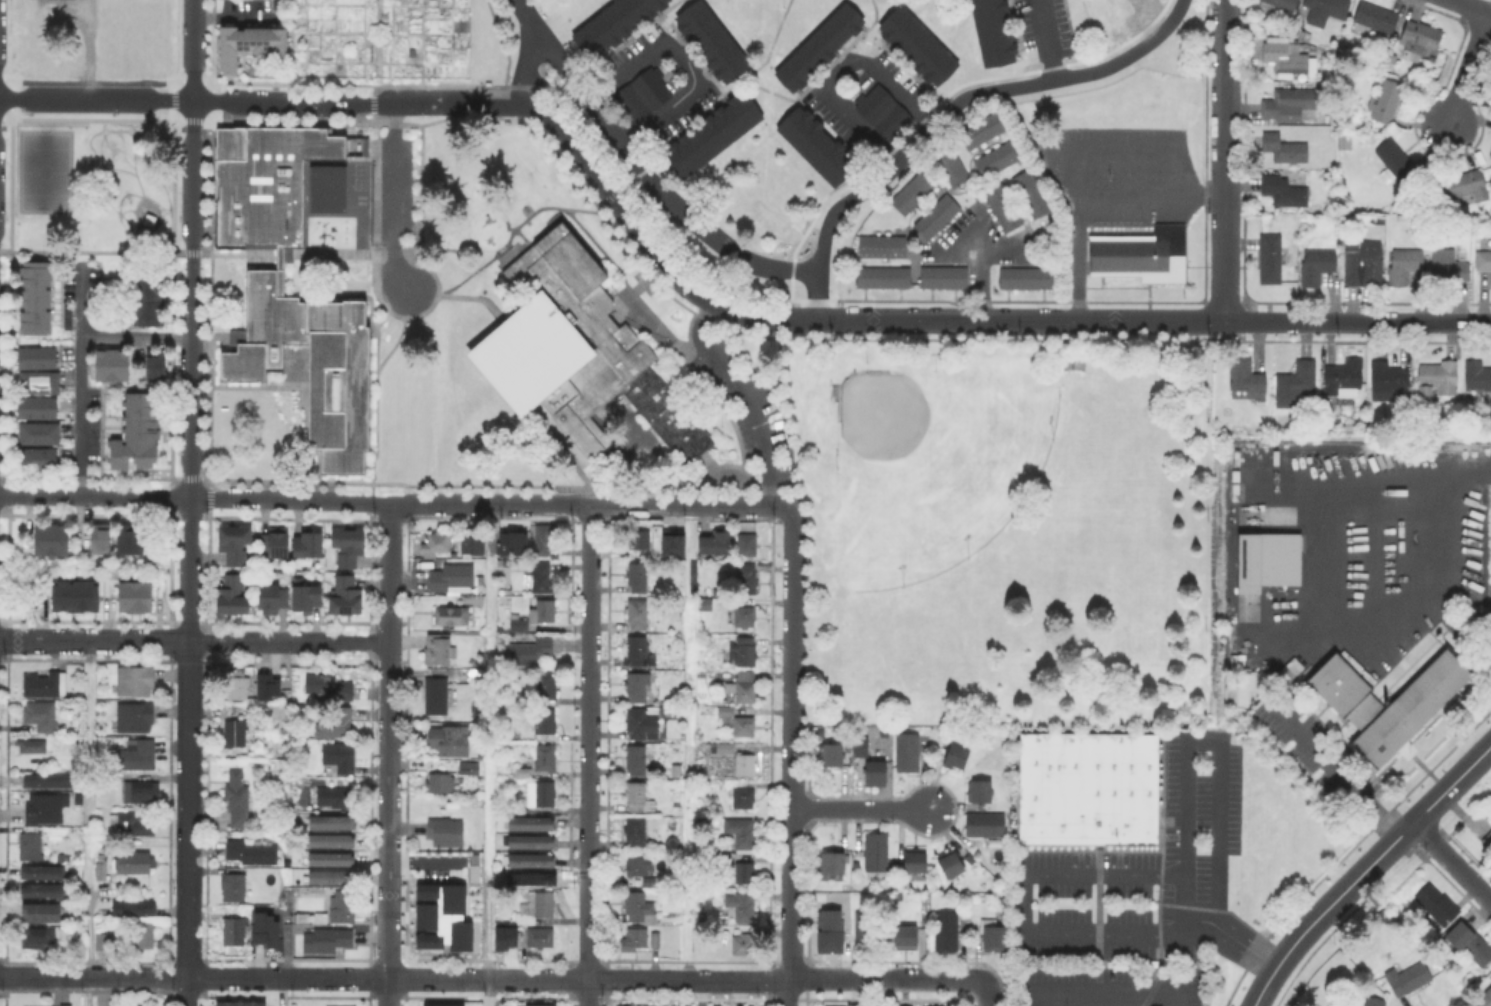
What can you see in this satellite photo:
building: (1282, 4)
road: (1474, 6)
road: (271, 8)
building: (1326, 8)
road: (663, 16)
road: (238, 17)
building: (1374, 20)
building: (611, 23)
road: (868, 27)
building: (991, 31)
building: (1300, 35)
building: (1419, 38)
building: (710, 39)
road: (193, 40)
road: (1045, 40)
building: (249, 44)
building: (817, 44)
building: (915, 44)
building: (1310, 49)
road: (1125, 54)
building: (1287, 56)
road: (684, 63)
road: (761, 64)
road: (525, 67)
road: (1469, 69)
road: (840, 72)
building: (1284, 76)
road: (552, 87)
building: (640, 92)
road: (781, 96)
road: (96, 98)
building: (1388, 100)
building: (1290, 103)
road: (366, 104)
building: (882, 111)
building: (981, 127)
building: (709, 133)
building: (814, 143)
building: (1285, 148)
road: (1122, 150)
building: (1490, 154)
building: (996, 156)
building: (1396, 159)
road: (1226, 161)
road: (639, 163)
road: (890, 163)
building: (952, 165)
park: (359, 168)
park: (43, 170)
building: (260, 181)
park: (358, 182)
park: (94, 183)
building: (1466, 184)
park: (124, 186)
building: (325, 186)
road: (622, 190)
building: (1028, 191)
building: (910, 192)
building: (1283, 192)
road: (1088, 195)
road: (392, 198)
building: (1001, 205)
building: (935, 214)
building: (765, 215)
building: (150, 219)
road: (520, 233)
road: (506, 244)
building: (879, 244)
road: (987, 247)
road: (136, 252)
road: (278, 253)
road: (337, 253)
building: (1142, 260)
building: (1270, 260)
building: (1364, 261)
building: (1482, 261)
building: (1317, 265)
building: (1403, 265)
building: (1449, 265)
building: (880, 275)
building: (941, 275)
building: (1024, 276)
road: (627, 279)
road: (976, 284)
building: (32, 296)
building: (147, 300)
road: (759, 317)
road: (1148, 321)
road: (690, 322)
road: (1358, 322)
road: (1072, 336)
road: (136, 337)
building: (577, 353)
building: (37, 358)
building: (307, 359)
building: (1073, 360)
road: (191, 361)
building: (158, 365)
building: (114, 366)
building: (1477, 376)
building: (1343, 377)
road: (80, 379)
building: (1436, 379)
building: (1247, 381)
building: (1389, 381)
building: (40, 383)
building: (1296, 383)
road: (377, 392)
road: (745, 396)
building: (39, 408)
road: (783, 415)
road: (734, 424)
building: (40, 433)
building: (138, 433)
park: (820, 449)
building: (37, 460)
park: (935, 467)
parking lot: (1490, 490)
road: (194, 497)
road: (589, 503)
parking lot: (1490, 516)
building: (98, 536)
building: (128, 536)
building: (48, 538)
building: (543, 538)
building: (639, 538)
building: (510, 542)
building: (716, 543)
building: (232, 544)
building: (275, 544)
building: (433, 544)
building: (475, 544)
building: (307, 546)
building: (347, 546)
building: (677, 546)
building: (747, 546)
road: (1408, 558)
building: (1268, 564)
road: (590, 566)
road: (389, 572)
building: (637, 575)
building: (451, 577)
building: (542, 577)
building: (746, 579)
road: (1490, 588)
parking lot: (1488, 592)
building: (72, 593)
building: (133, 595)
building: (230, 597)
building: (345, 597)
building: (271, 598)
building: (304, 599)
building: (704, 605)
building: (545, 612)
building: (637, 612)
road: (794, 612)
building: (745, 615)
building: (451, 617)
building: (519, 626)
road: (194, 641)
building: (438, 650)
building: (744, 651)
building: (530, 652)
building: (638, 652)
road: (590, 678)
building: (137, 681)
building: (240, 684)
building: (546, 684)
building: (48, 685)
building: (265, 685)
building: (746, 686)
building: (331, 687)
building: (635, 687)
building: (435, 696)
building: (63, 702)
building: (726, 711)
building: (43, 717)
building: (138, 717)
building: (1389, 720)
building: (338, 722)
building: (545, 722)
building: (641, 725)
building: (743, 727)
building: (238, 734)
building: (448, 739)
road: (689, 742)
building: (78, 744)
building: (35, 747)
building: (862, 747)
building: (723, 749)
building: (906, 753)
road: (487, 754)
building: (142, 755)
building: (342, 756)
building: (830, 757)
building: (545, 758)
building: (955, 758)
building: (636, 761)
building: (744, 764)
building: (469, 769)
road: (1188, 772)
road: (1335, 772)
building: (524, 773)
building: (877, 775)
building: (50, 782)
building: (439, 784)
building: (142, 790)
building: (1091, 791)
building: (977, 793)
building: (544, 794)
building: (635, 797)
building: (240, 798)
building: (336, 798)
road: (589, 798)
building: (742, 798)
building: (47, 809)
road: (287, 809)
road: (860, 809)
building: (1490, 817)
road: (88, 823)
road: (189, 823)
road: (387, 823)
building: (333, 824)
building: (530, 825)
building: (984, 825)
building: (137, 826)
building: (635, 830)
building: (445, 832)
building: (740, 832)
building: (1488, 840)
building: (333, 843)
building: (529, 844)
building: (32, 845)
building: (875, 850)
building: (253, 853)
building: (54, 856)
building: (333, 861)
building: (530, 862)
road: (792, 862)
road: (1451, 862)
building: (137, 863)
building: (914, 863)
building: (830, 864)
building: (949, 866)
road: (1364, 868)
building: (640, 871)
building: (103, 873)
building: (743, 873)
building: (44, 875)
building: (332, 879)
building: (510, 883)
building: (235, 887)
building: (44, 893)
building: (1436, 904)
building: (538, 905)
building: (637, 906)
building: (741, 907)
building: (344, 908)
road: (1028, 909)
building: (43, 910)
building: (135, 910)
building: (440, 917)
building: (829, 922)
road: (588, 923)
building: (260, 926)
building: (234, 930)
building: (867, 930)
building: (946, 932)
building: (146, 934)
building: (503, 937)
building: (39, 938)
building: (541, 938)
building: (654, 939)
building: (904, 939)
building: (992, 940)
building: (327, 941)
building: (632, 942)
building: (104, 943)
building: (1472, 943)
building: (741, 944)
road: (492, 978)
building: (1408, 979)
road: (888, 991)
road: (588, 993)
road: (988, 994)
road: (1114, 995)
building: (1485, 998)
building: (1374, 1002)
building: (239, 1003)
building: (63, 1004)
building: (441, 1004)
building: (538, 1004)
building: (331, 1005)
building: (840, 1005)
building: (909, 1005)

